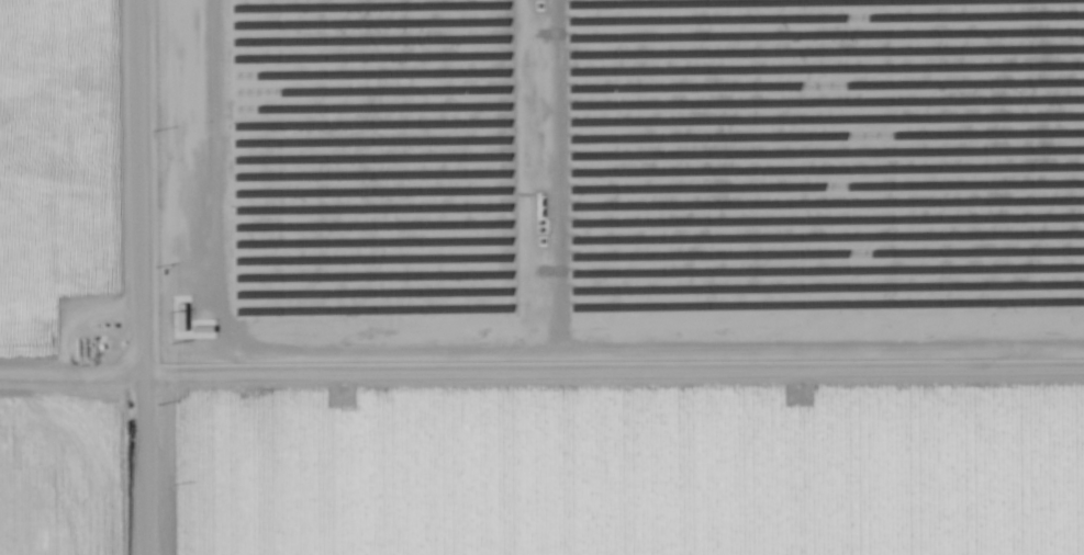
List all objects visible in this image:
solar farm: (616, 184)
crop: (66, 277)
road: (138, 277)
crop: (608, 473)

